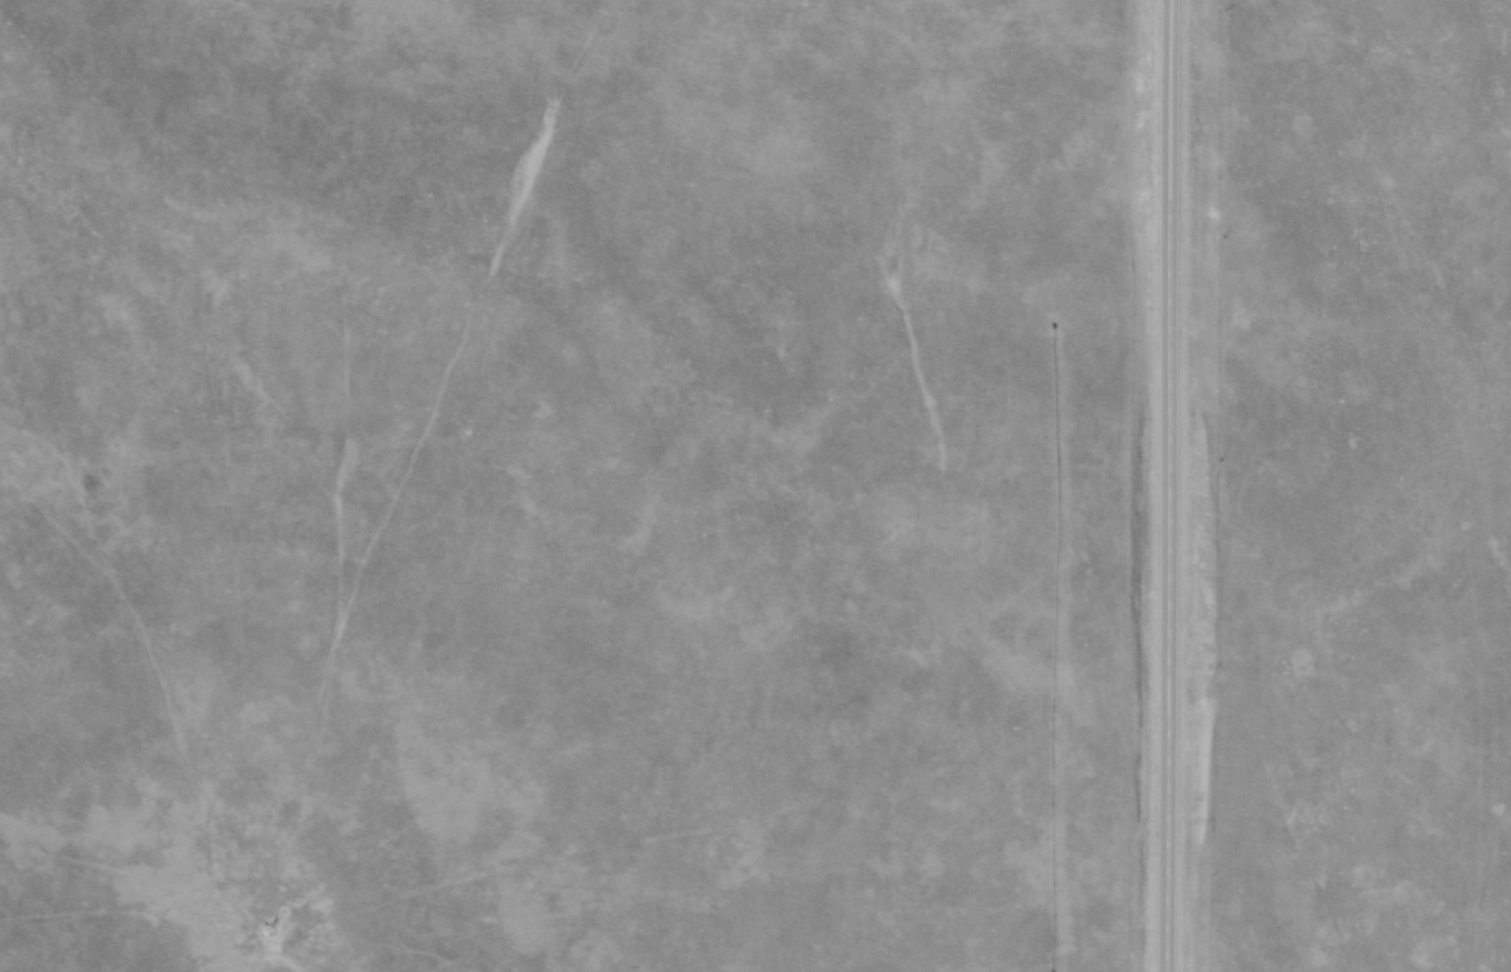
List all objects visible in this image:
road: (1165, 486)

